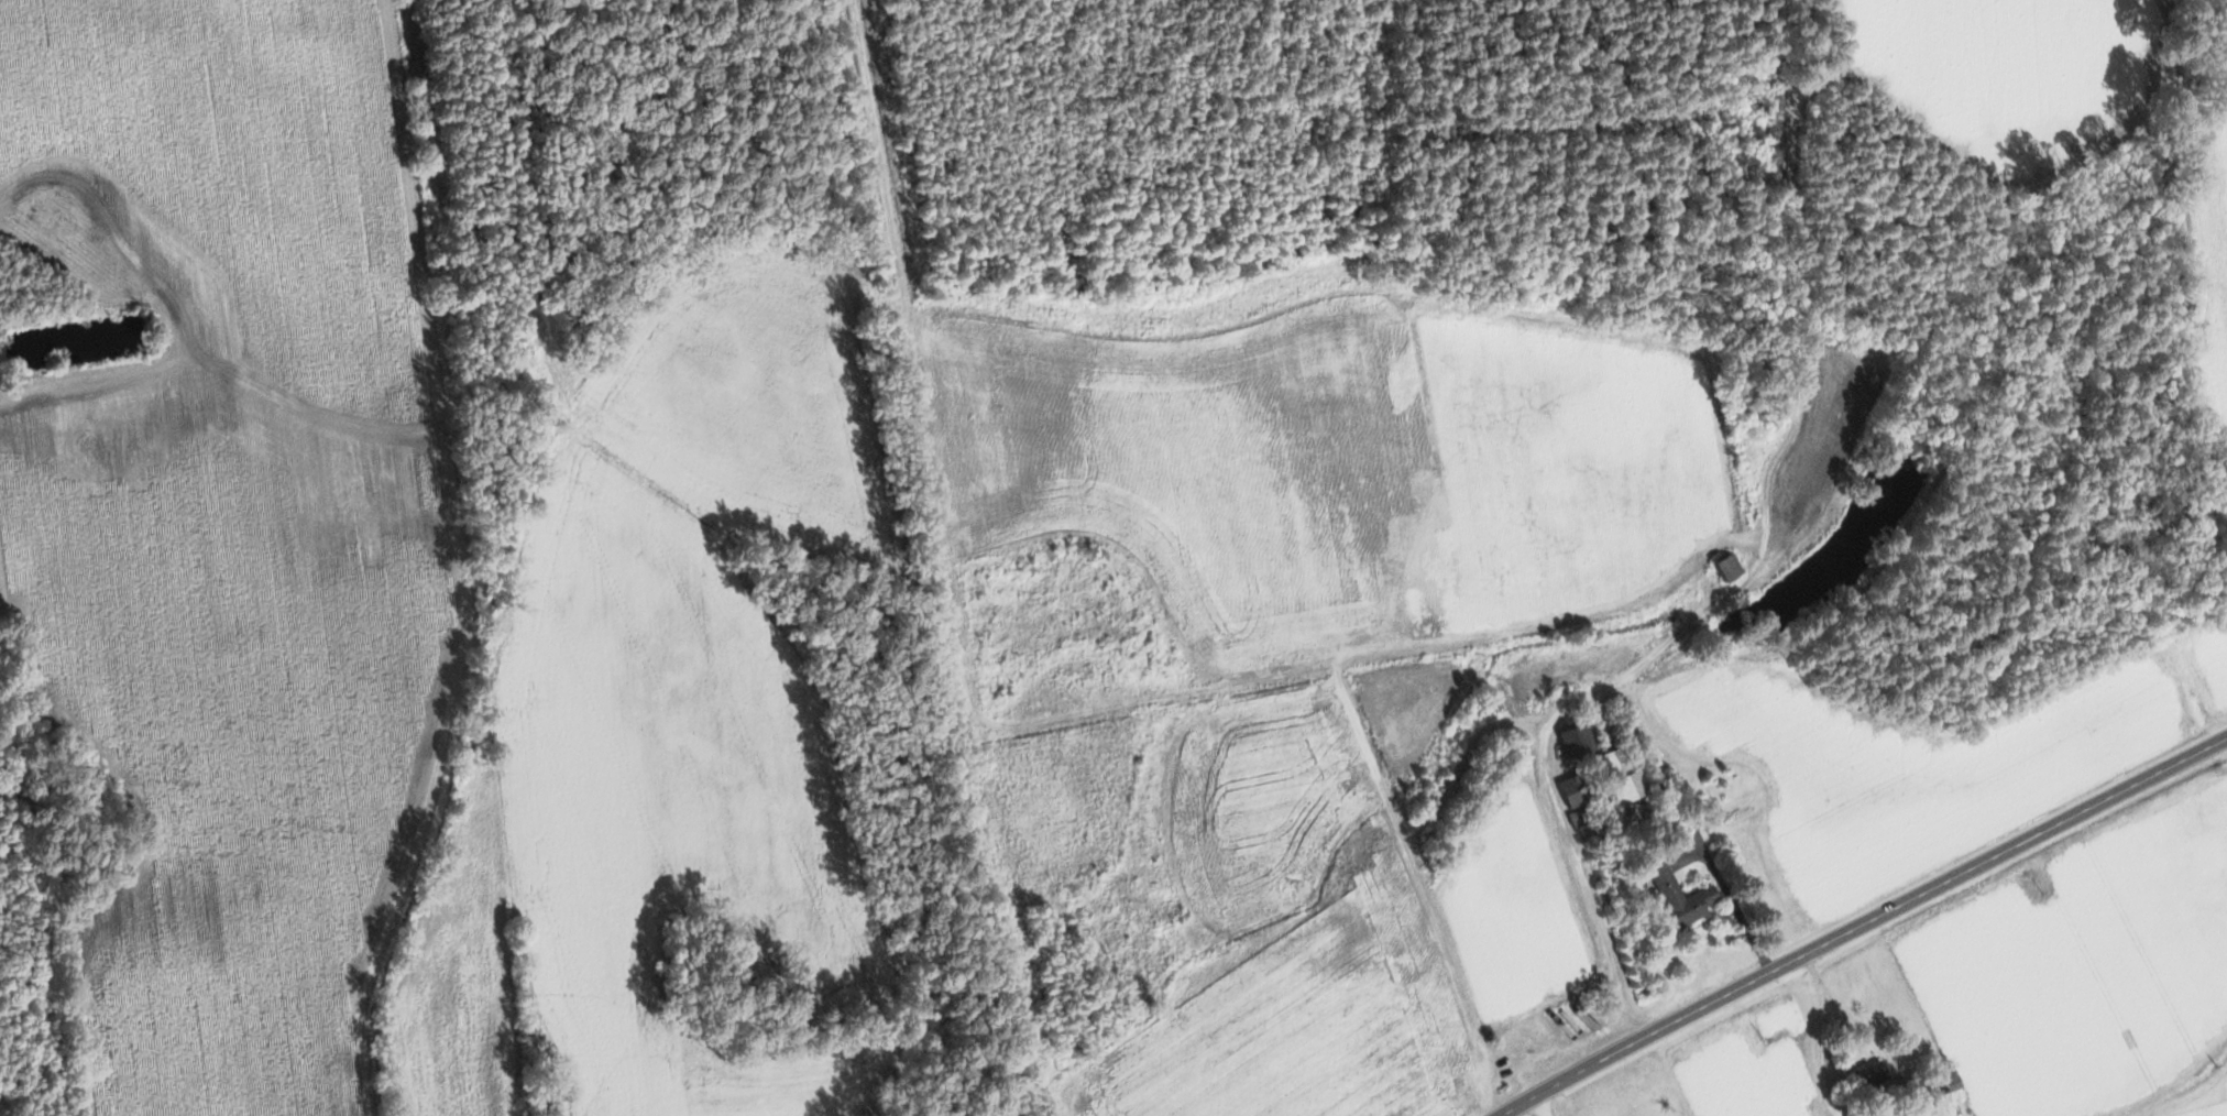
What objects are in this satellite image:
building: (1723, 568)
road: (1579, 697)
building: (1577, 740)
building: (1620, 777)
building: (1676, 899)
road: (1736, 901)
road: (1864, 924)
building: (1409, 961)
building: (1866, 1077)
building: (1944, 1085)

